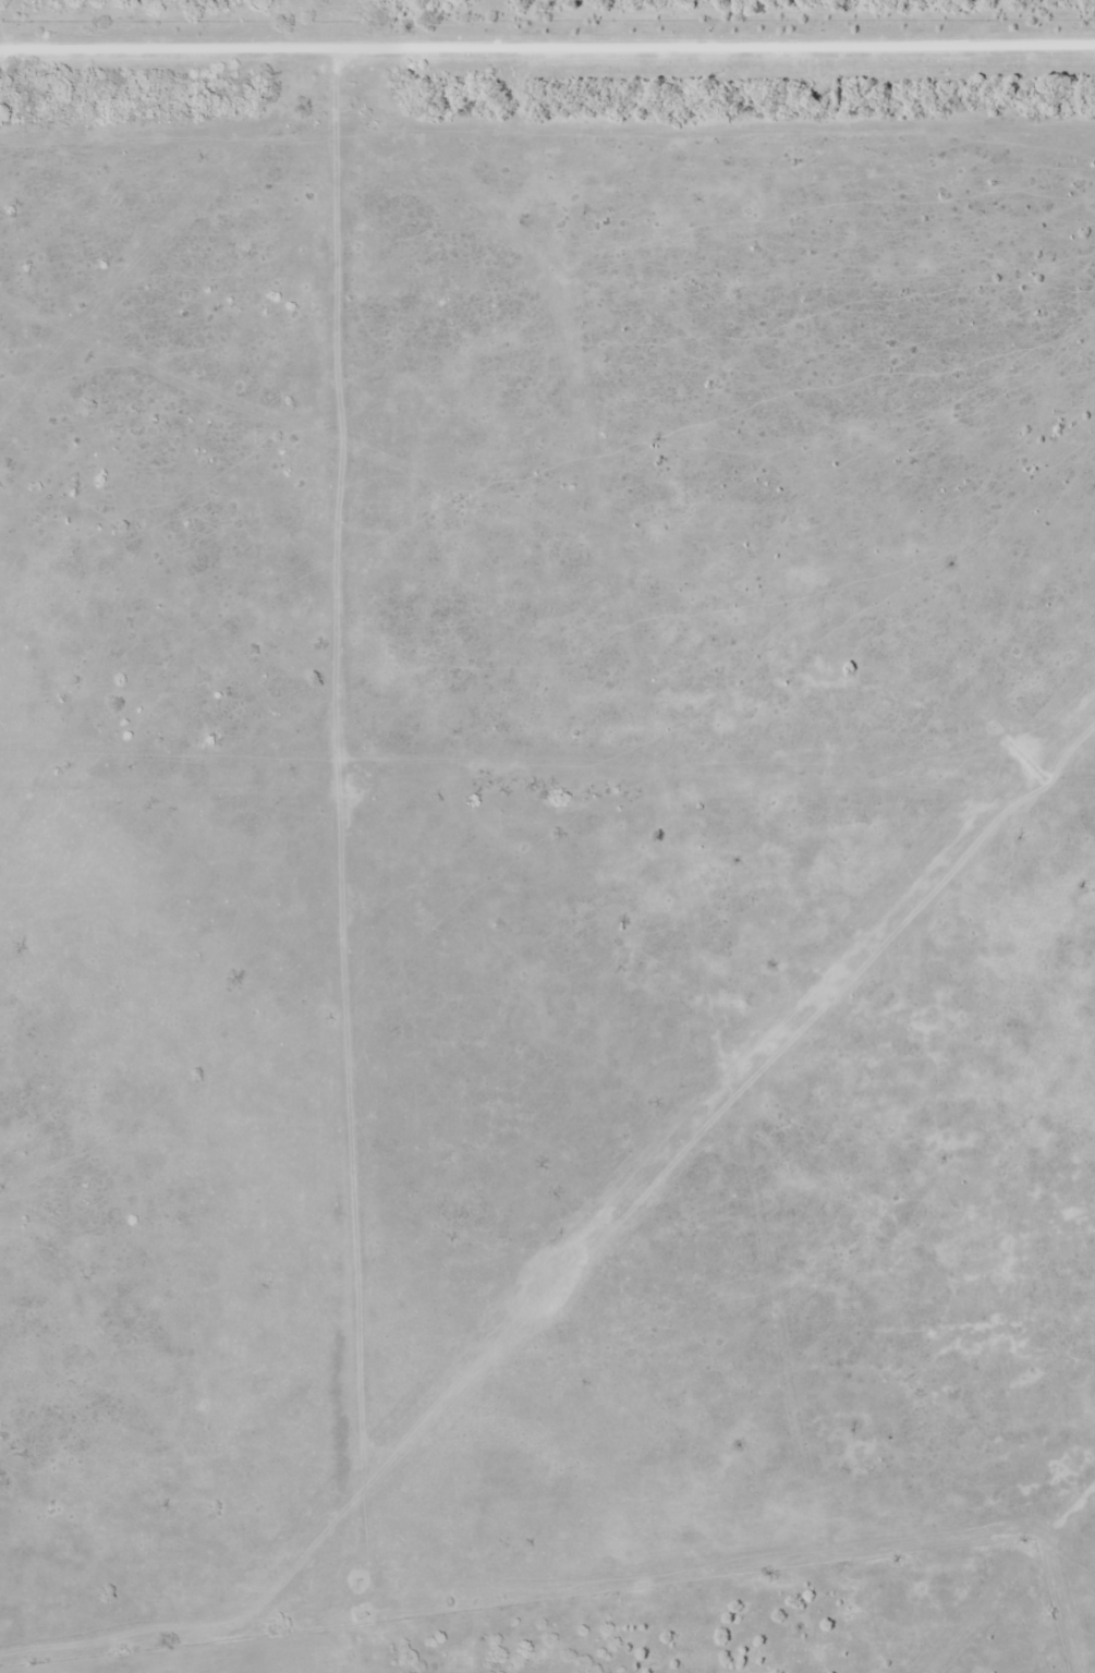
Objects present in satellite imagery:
road: (547, 46)

